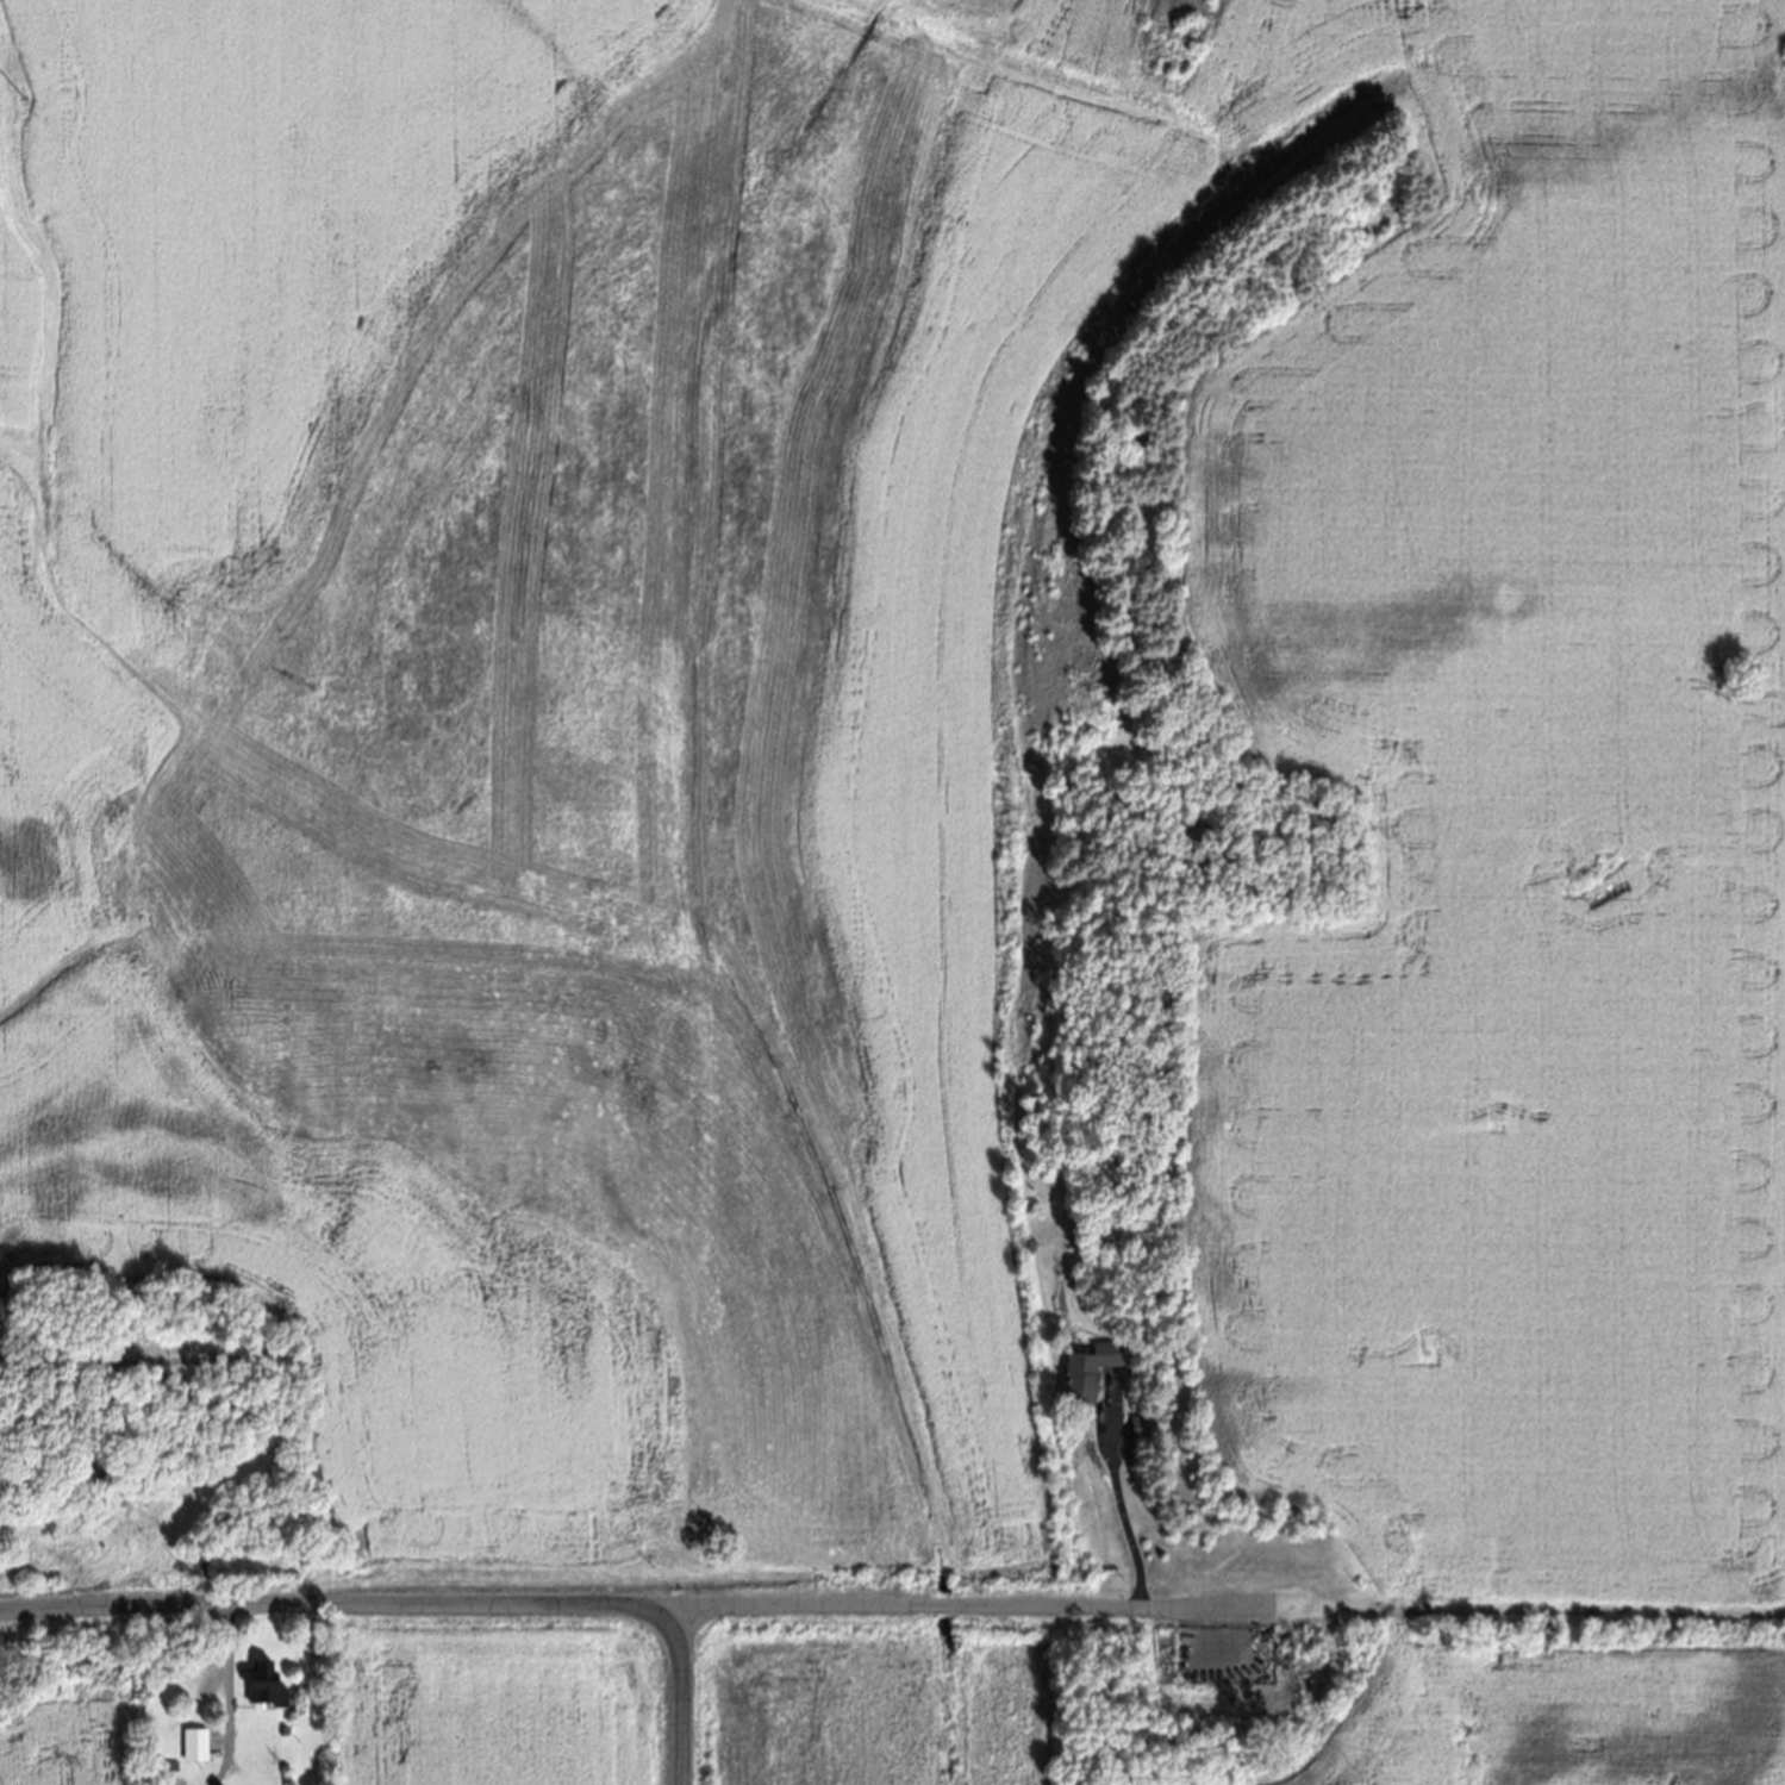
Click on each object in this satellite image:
building: (1088, 1377)
road: (1117, 1499)
road: (339, 1605)
road: (1231, 1611)
building: (260, 1689)
road: (680, 1696)
road: (226, 1697)
building: (193, 1750)

